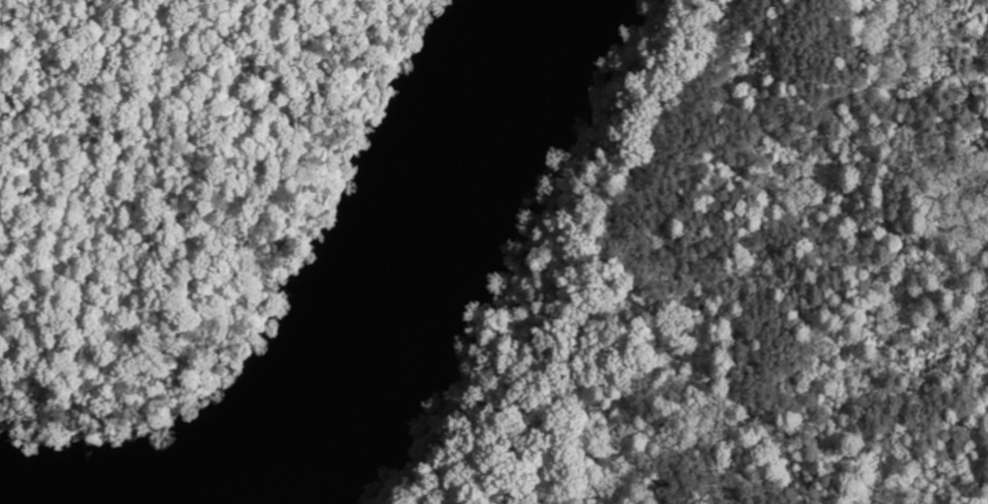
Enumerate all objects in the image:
river: (387, 257)

